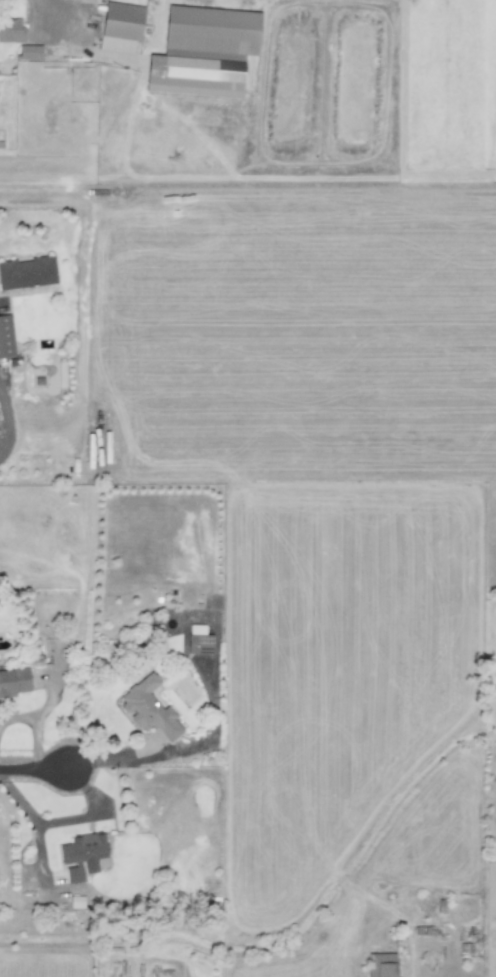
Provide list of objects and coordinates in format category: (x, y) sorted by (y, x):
road: (48, 11)
building: (120, 26)
building: (10, 29)
building: (204, 49)
building: (30, 51)
building: (27, 271)
building: (5, 335)
crop: (262, 383)
road: (6, 414)
building: (198, 639)
building: (13, 681)
building: (148, 707)
road: (31, 767)
road: (68, 818)
building: (82, 855)
building: (381, 964)

